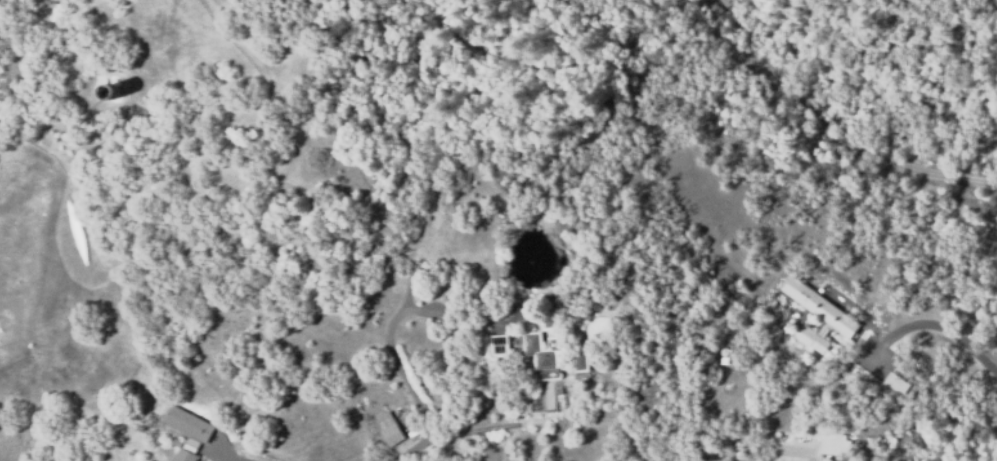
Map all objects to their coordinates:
building: (108, 91)
road: (835, 129)
building: (579, 288)
building: (820, 306)
road: (950, 328)
building: (811, 339)
building: (501, 341)
building: (532, 342)
road: (392, 348)
building: (578, 361)
building: (892, 383)
building: (389, 429)
building: (189, 432)
building: (177, 443)
building: (830, 443)
road: (229, 456)

